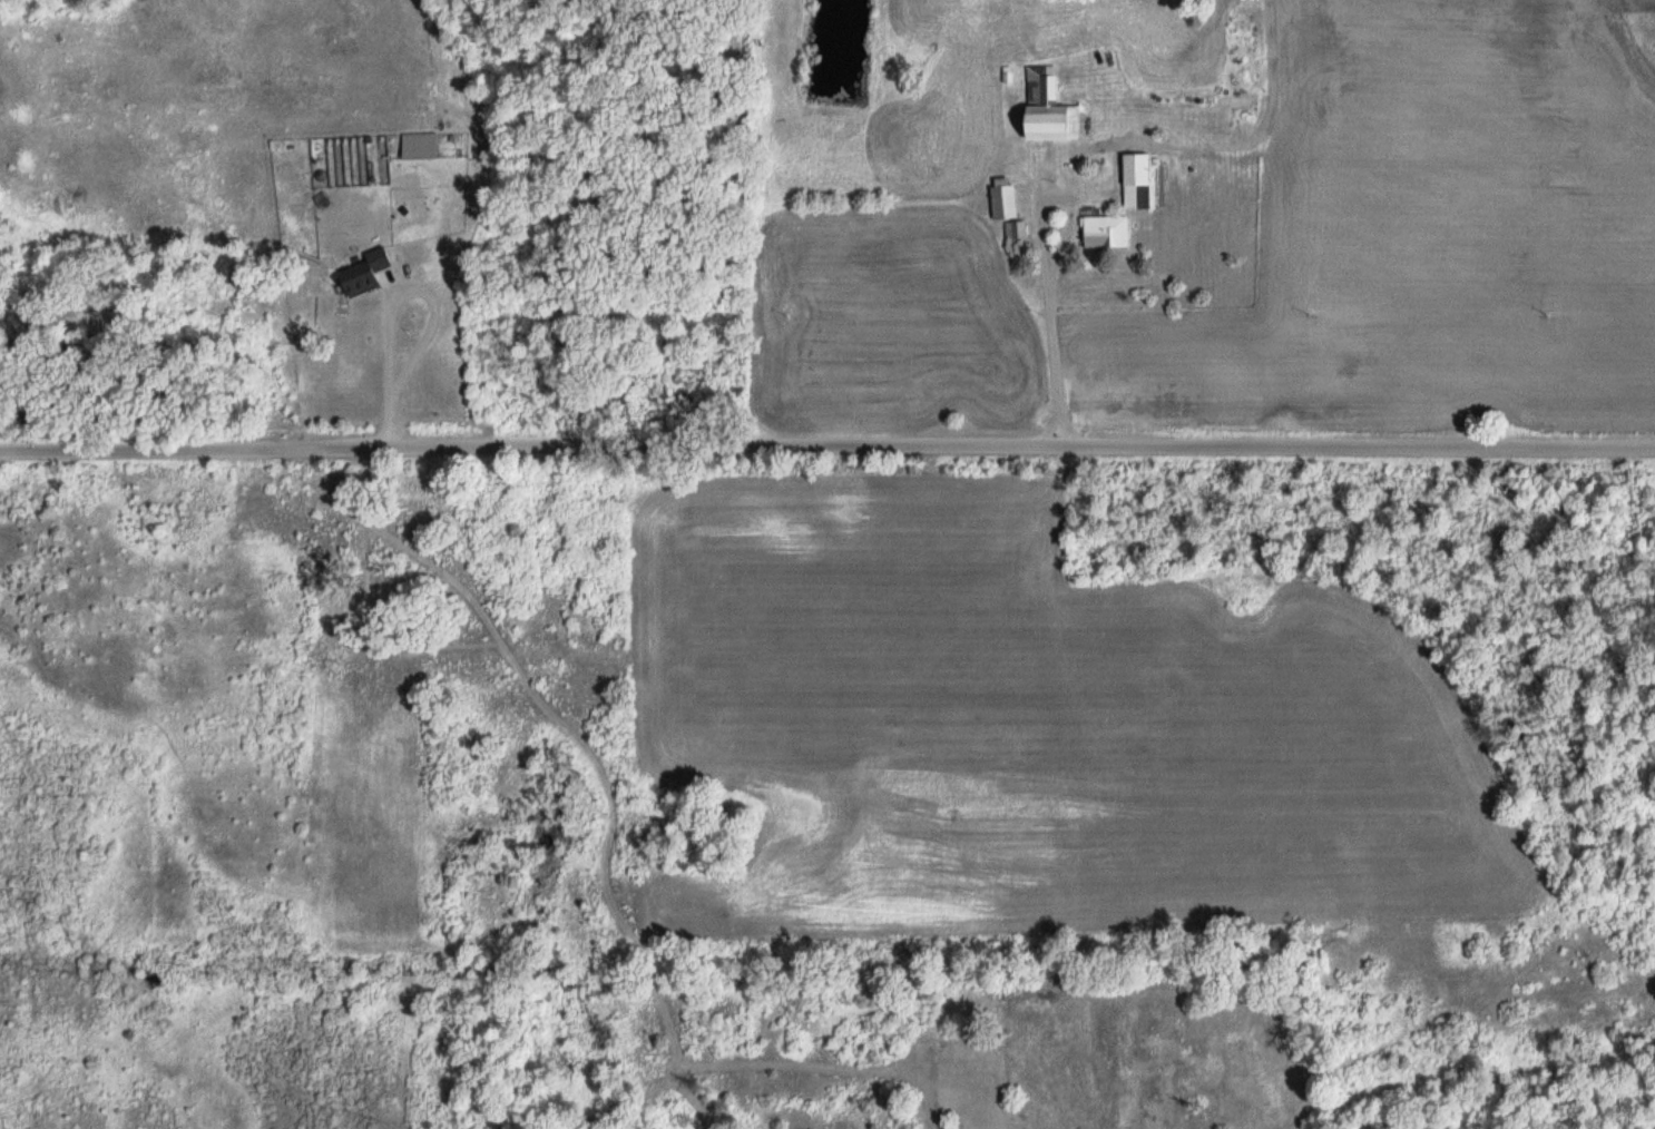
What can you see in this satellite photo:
building: (1049, 108)
road: (1204, 150)
building: (1138, 180)
building: (1005, 198)
building: (1013, 230)
building: (1108, 232)
road: (396, 294)
road: (1047, 320)
road: (827, 445)

